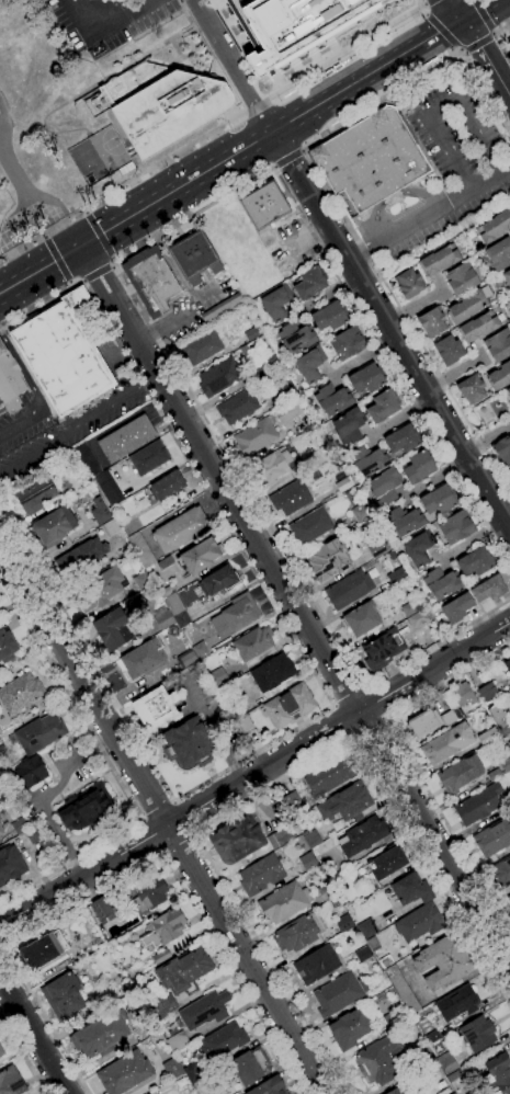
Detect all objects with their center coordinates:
road: (427, 1)
road: (422, 4)
road: (453, 9)
road: (475, 9)
road: (481, 13)
road: (421, 14)
traffic signals: (461, 18)
parking lot: (105, 21)
building: (241, 23)
road: (102, 24)
building: (295, 25)
road: (441, 30)
road: (492, 31)
road: (492, 36)
road: (495, 39)
building: (508, 42)
road: (477, 44)
road: (456, 49)
road: (349, 52)
road: (461, 52)
road: (485, 56)
road: (231, 65)
road: (365, 75)
building: (162, 105)
road: (257, 106)
road: (439, 109)
railway: (242, 145)
park: (107, 149)
railway: (251, 150)
road: (301, 151)
road: (287, 159)
building: (371, 160)
park: (86, 161)
parking lot: (449, 164)
road: (273, 167)
road: (122, 186)
road: (174, 189)
road: (25, 192)
road: (394, 196)
road: (333, 202)
building: (263, 205)
road: (82, 213)
road: (428, 213)
building: (494, 227)
building: (469, 233)
road: (99, 235)
road: (42, 237)
road: (308, 238)
traffic signals: (79, 247)
parking lot: (292, 248)
building: (498, 253)
building: (193, 257)
road: (57, 260)
road: (111, 261)
building: (438, 261)
road: (111, 265)
road: (115, 269)
road: (39, 270)
road: (97, 273)
building: (507, 276)
building: (461, 278)
building: (149, 280)
road: (82, 282)
building: (309, 283)
building: (408, 283)
road: (70, 285)
building: (275, 304)
road: (39, 306)
building: (465, 307)
building: (222, 309)
building: (330, 316)
building: (431, 322)
building: (477, 327)
road: (389, 332)
building: (251, 333)
building: (296, 337)
building: (347, 343)
building: (498, 345)
building: (200, 347)
building: (449, 350)
building: (243, 351)
building: (63, 354)
building: (269, 360)
building: (309, 365)
building: (499, 376)
building: (218, 377)
building: (366, 378)
building: (10, 381)
building: (471, 389)
road: (33, 391)
building: (286, 391)
building: (508, 394)
building: (332, 399)
building: (383, 406)
building: (238, 407)
building: (1, 408)
building: (288, 412)
road: (78, 425)
building: (348, 425)
building: (256, 435)
parking lot: (31, 436)
building: (126, 438)
building: (403, 440)
building: (501, 451)
building: (317, 455)
building: (148, 458)
building: (87, 459)
building: (369, 460)
building: (418, 467)
building: (272, 468)
building: (508, 475)
building: (341, 483)
building: (167, 486)
building: (384, 486)
building: (107, 487)
road: (207, 493)
building: (34, 494)
building: (290, 498)
building: (438, 499)
building: (99, 512)
building: (360, 513)
building: (404, 521)
building: (53, 526)
building: (110, 527)
building: (309, 527)
building: (455, 527)
building: (180, 529)
building: (419, 548)
building: (376, 549)
building: (140, 550)
building: (199, 556)
building: (392, 556)
building: (80, 557)
building: (327, 561)
building: (475, 562)
building: (165, 563)
building: (396, 576)
building: (141, 581)
building: (218, 581)
building: (441, 583)
building: (488, 589)
building: (99, 590)
building: (348, 590)
building: (167, 591)
building: (172, 604)
road: (295, 607)
building: (408, 608)
building: (456, 608)
building: (235, 616)
building: (162, 618)
building: (419, 618)
building: (181, 619)
building: (360, 619)
building: (113, 628)
building: (7, 643)
building: (252, 643)
building: (200, 650)
building: (382, 650)
building: (188, 659)
building: (139, 660)
building: (507, 665)
building: (271, 673)
building: (219, 676)
building: (486, 691)
building: (20, 693)
building: (462, 694)
road: (348, 697)
road: (376, 702)
building: (288, 706)
building: (155, 708)
building: (237, 709)
building: (450, 716)
building: (499, 719)
road: (340, 722)
building: (242, 723)
building: (424, 723)
road: (369, 728)
building: (39, 733)
road: (134, 734)
building: (487, 736)
building: (186, 743)
building: (446, 743)
building: (1, 749)
road: (409, 762)
building: (505, 762)
road: (112, 771)
building: (31, 772)
road: (254, 773)
building: (329, 773)
building: (460, 774)
road: (274, 783)
building: (0, 795)
building: (291, 801)
building: (345, 804)
building: (478, 805)
road: (156, 806)
building: (88, 809)
road: (183, 817)
road: (162, 819)
building: (19, 825)
building: (1, 831)
building: (34, 834)
road: (148, 836)
building: (363, 836)
building: (280, 837)
building: (492, 837)
building: (311, 839)
building: (236, 840)
road: (177, 842)
building: (307, 862)
building: (386, 863)
building: (11, 865)
road: (128, 869)
building: (501, 873)
building: (260, 875)
building: (411, 890)
building: (148, 892)
building: (324, 893)
building: (509, 899)
building: (283, 902)
building: (101, 910)
building: (419, 923)
building: (343, 924)
building: (163, 928)
building: (366, 928)
building: (297, 934)
road: (2, 942)
road: (1, 948)
building: (43, 950)
building: (159, 956)
building: (443, 962)
building: (316, 965)
building: (183, 972)
building: (403, 992)
building: (338, 994)
building: (63, 995)
building: (102, 1002)
building: (456, 1003)
building: (162, 1007)
building: (204, 1010)
building: (394, 1017)
building: (350, 1028)
building: (477, 1034)
road: (35, 1035)
building: (100, 1035)
building: (431, 1037)
building: (224, 1040)
building: (177, 1042)
building: (1, 1052)
road: (22, 1055)
building: (381, 1059)
building: (446, 1063)
building: (250, 1065)
building: (172, 1069)
building: (191, 1071)
building: (499, 1072)
building: (124, 1073)
building: (11, 1082)
building: (269, 1086)
building: (396, 1091)
building: (452, 1093)

